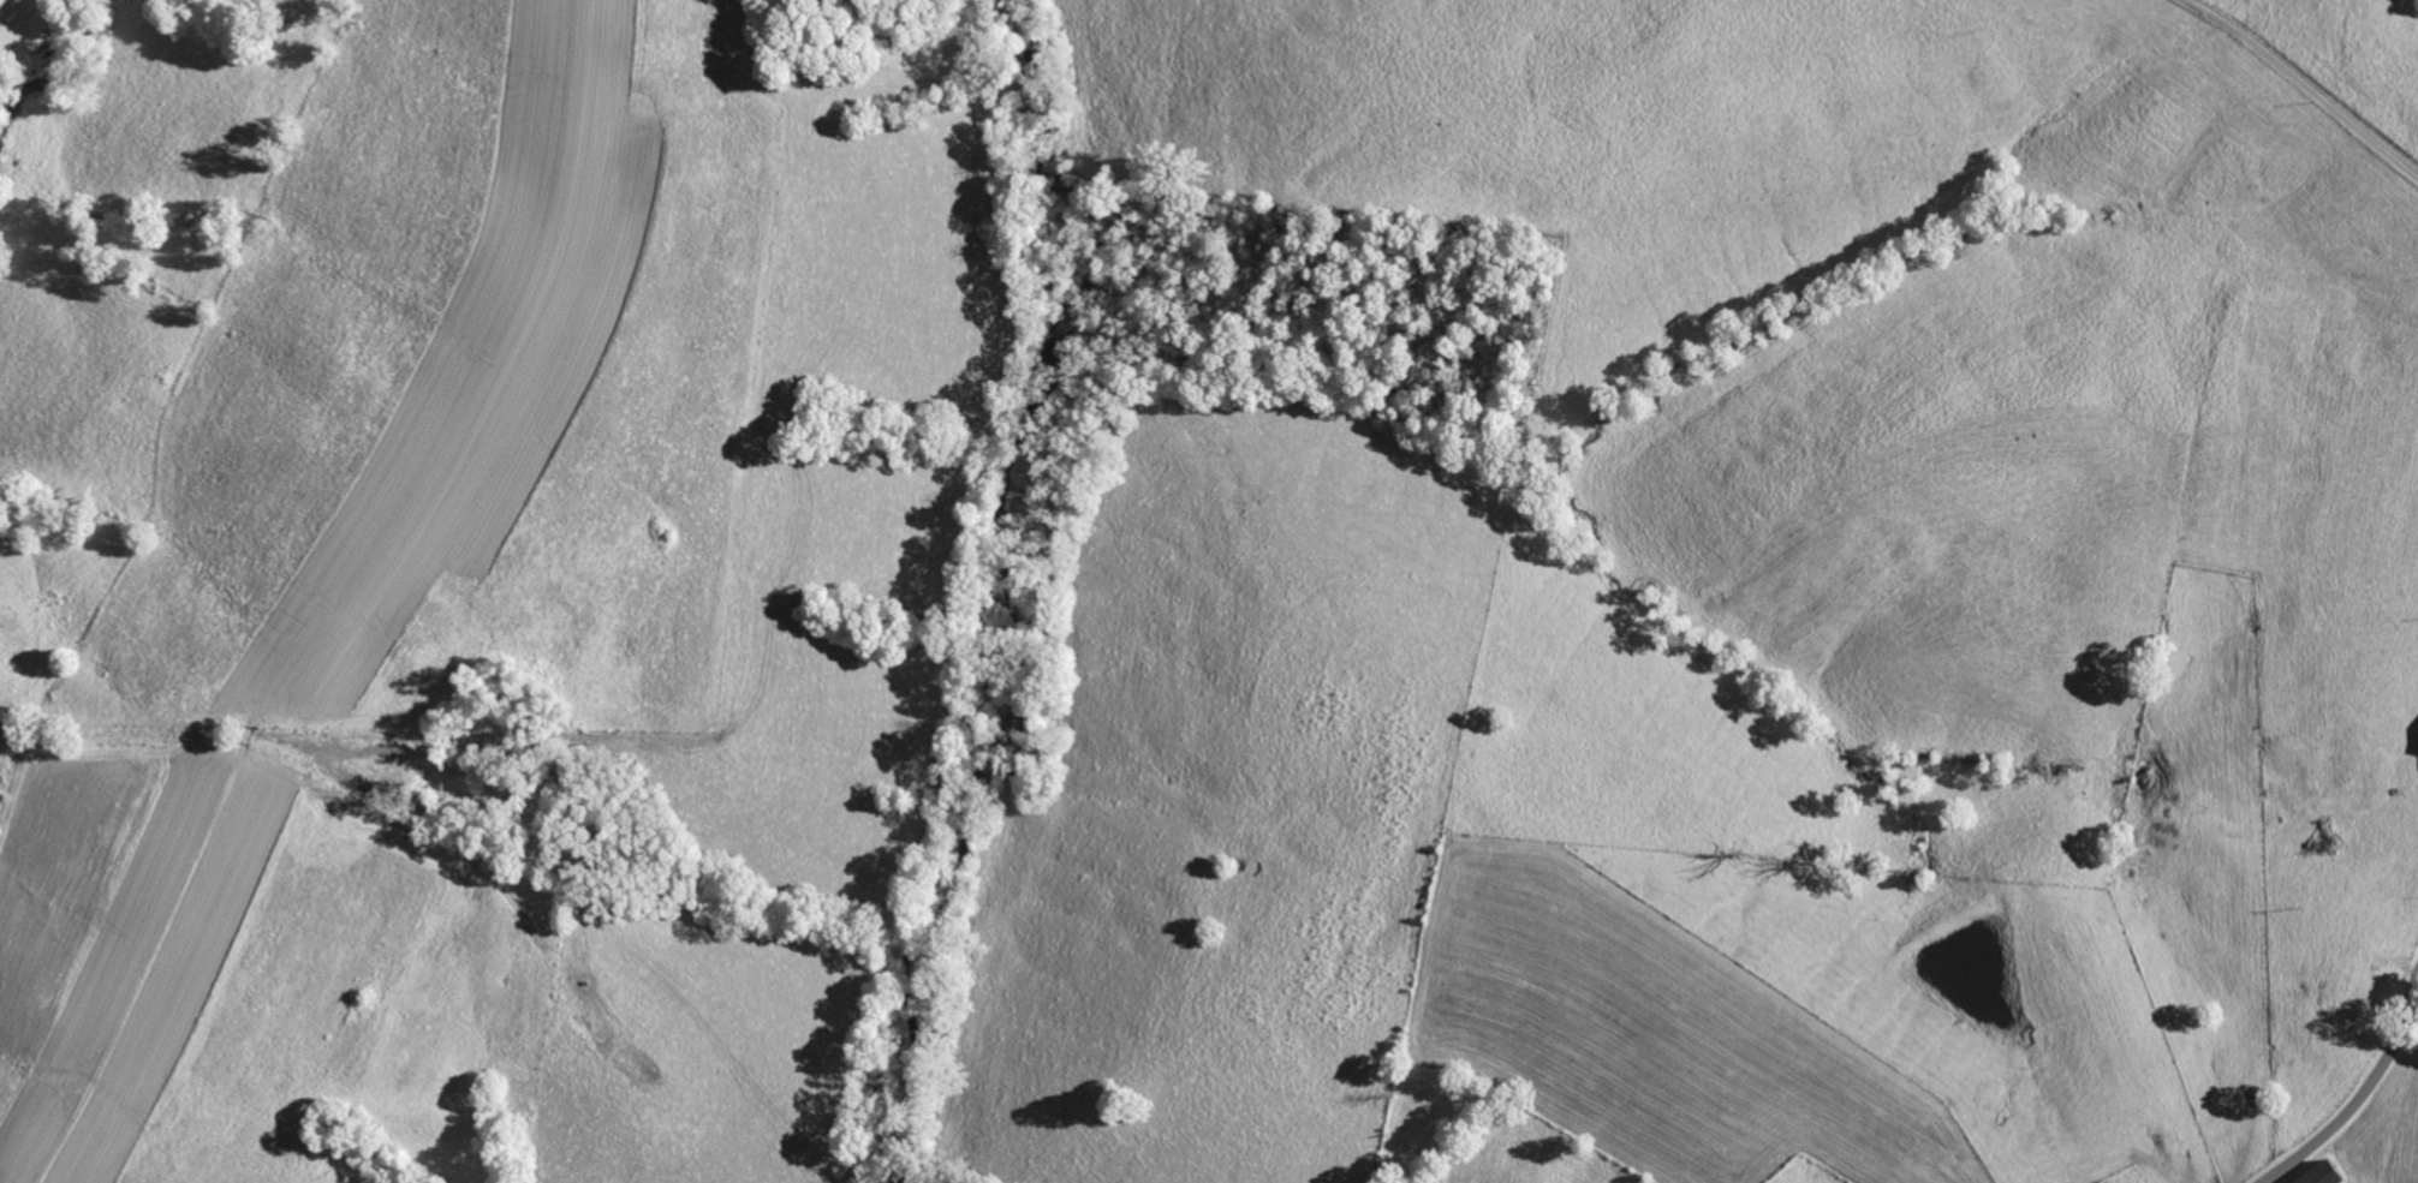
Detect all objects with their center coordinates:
road: (2402, 4)
road: (2297, 91)
road: (2357, 1071)
building: (2324, 1173)

